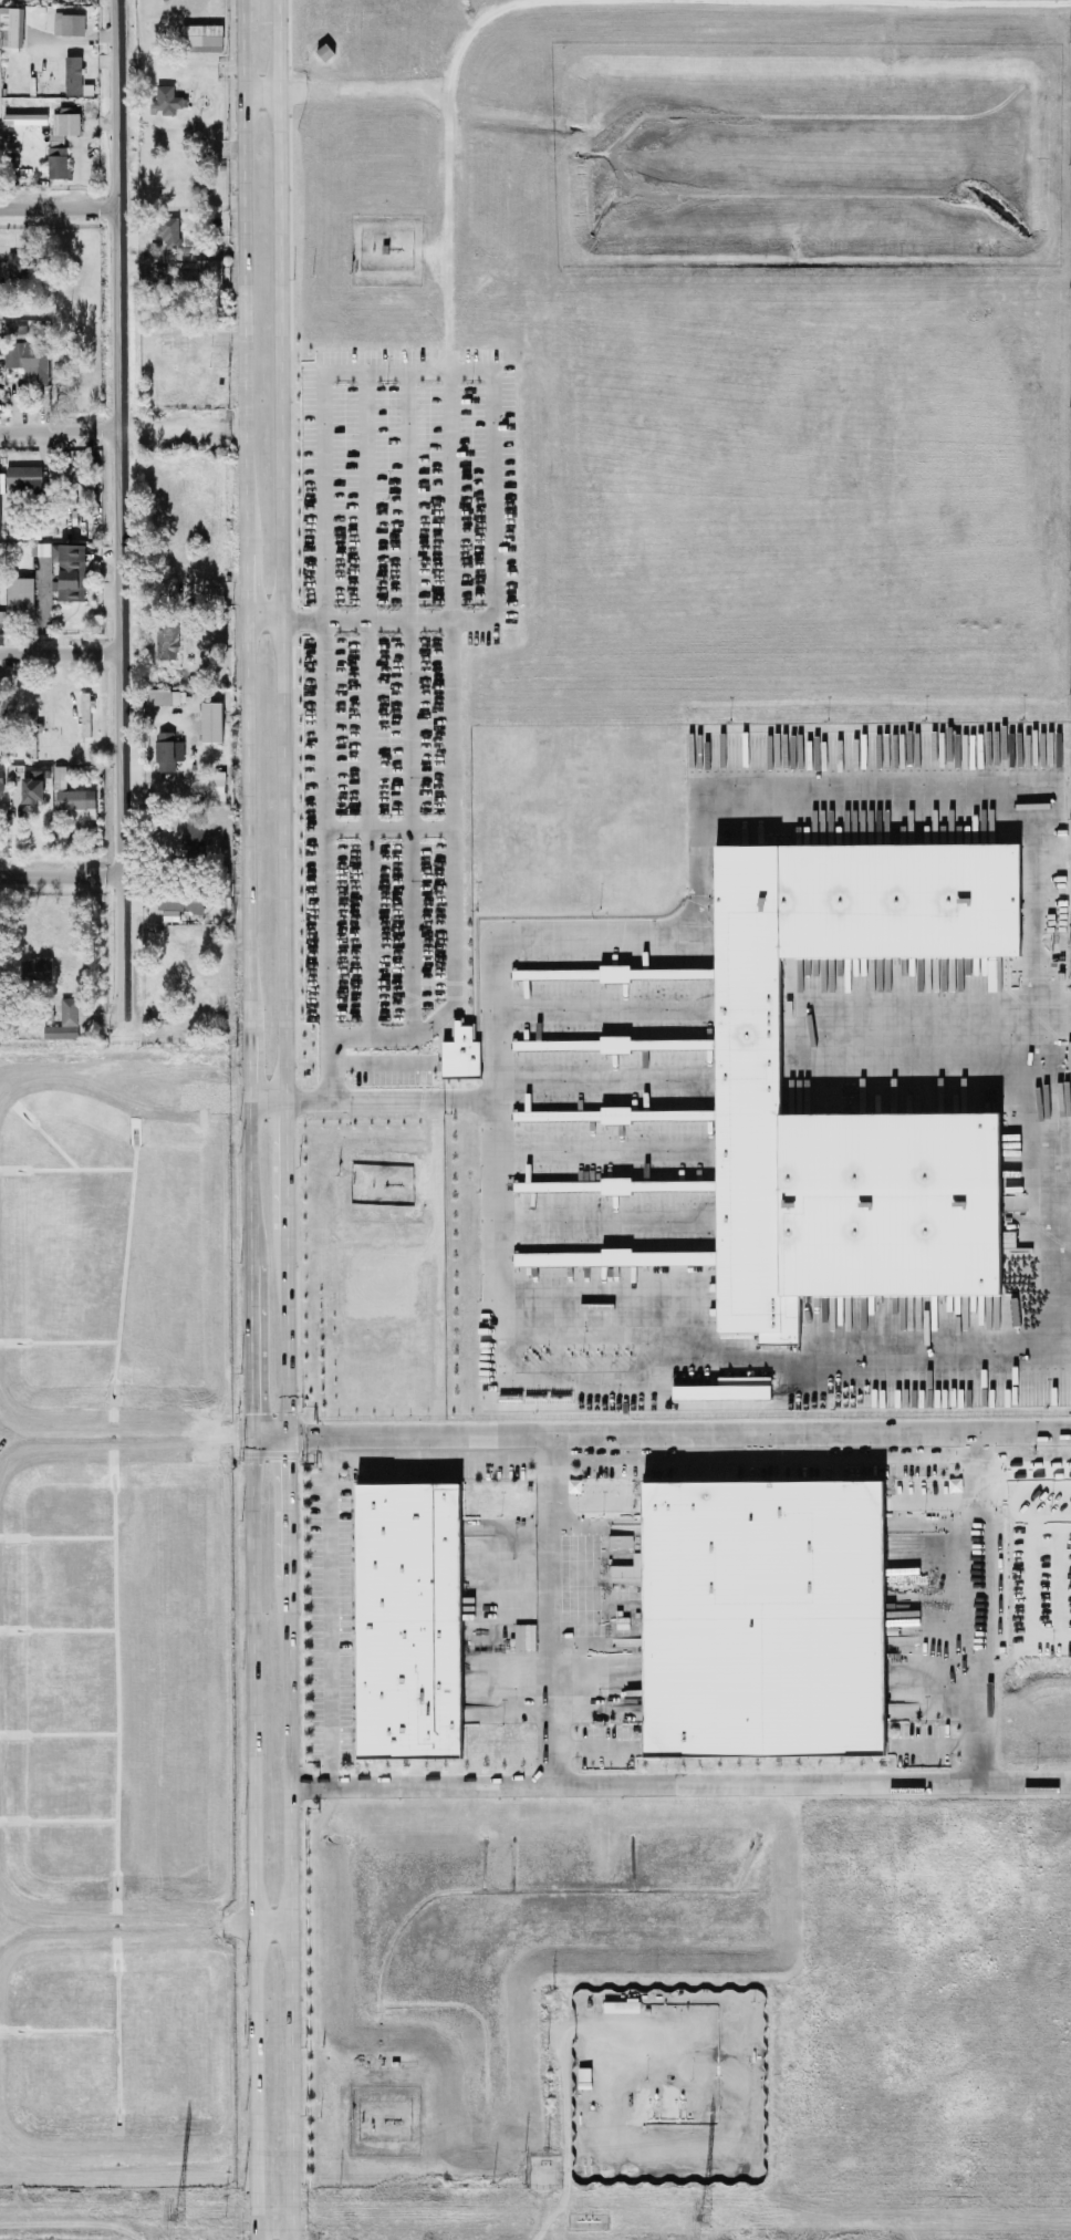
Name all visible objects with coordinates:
building: (67, 25)
building: (200, 40)
building: (72, 76)
road: (263, 94)
road: (365, 97)
building: (166, 101)
building: (24, 120)
building: (65, 124)
building: (56, 164)
road: (60, 208)
building: (169, 234)
building: (15, 265)
building: (207, 272)
building: (15, 332)
building: (199, 360)
building: (29, 361)
road: (427, 372)
road: (61, 431)
building: (23, 479)
road: (122, 509)
road: (247, 516)
road: (284, 516)
building: (66, 570)
road: (454, 589)
road: (212, 591)
building: (20, 598)
road: (267, 625)
road: (370, 628)
building: (166, 644)
road: (61, 654)
building: (164, 697)
building: (84, 705)
road: (366, 706)
road: (415, 707)
building: (210, 724)
building: (167, 753)
building: (59, 778)
building: (1, 781)
building: (33, 787)
road: (807, 796)
building: (75, 800)
road: (395, 827)
road: (334, 834)
building: (195, 838)
road: (62, 875)
building: (179, 903)
building: (43, 969)
building: (69, 1020)
road: (267, 1033)
building: (692, 1046)
building: (461, 1055)
road: (385, 1062)
road: (124, 1083)
road: (267, 1109)
building: (616, 1186)
road: (490, 1223)
building: (630, 1258)
building: (527, 1259)
road: (437, 1269)
road: (759, 1366)
building: (724, 1390)
traffic signals: (252, 1414)
road: (697, 1433)
traffic signals: (303, 1435)
road: (306, 1435)
road: (270, 1437)
road: (126, 1438)
road: (763, 1459)
traffic signals: (290, 1463)
road: (1023, 1490)
road: (936, 1497)
road: (589, 1501)
building: (612, 1542)
road: (584, 1567)
building: (622, 1569)
road: (977, 1607)
road: (554, 1608)
road: (327, 1609)
road: (604, 1610)
building: (760, 1620)
building: (408, 1621)
road: (253, 1636)
road: (290, 1636)
building: (523, 1638)
road: (942, 1746)
road: (591, 1749)
road: (700, 1783)
road: (311, 1784)
road: (273, 1923)
road: (127, 1929)
road: (568, 2134)
road: (128, 2164)
power tower: (178, 2218)
power tower: (705, 2219)

